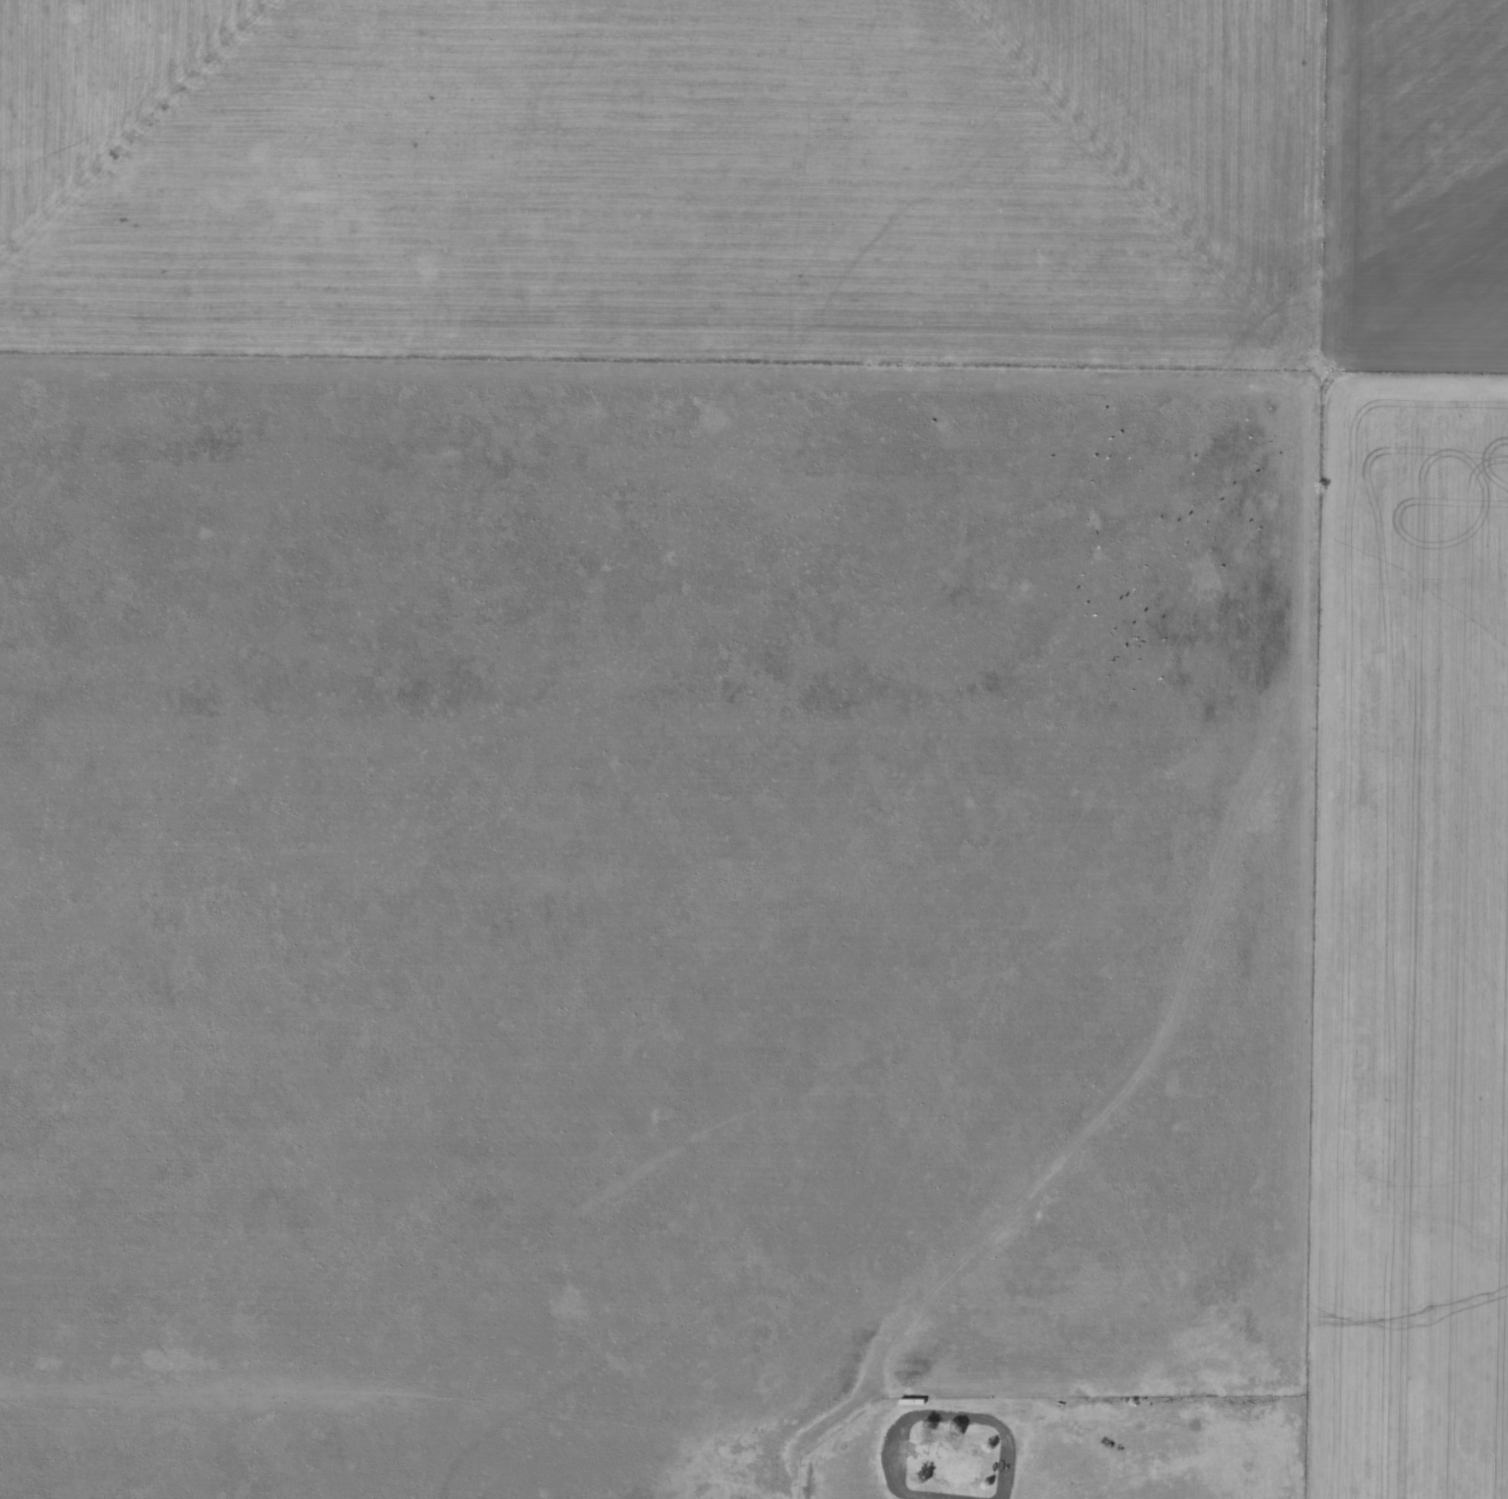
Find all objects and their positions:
building: (952, 1466)

